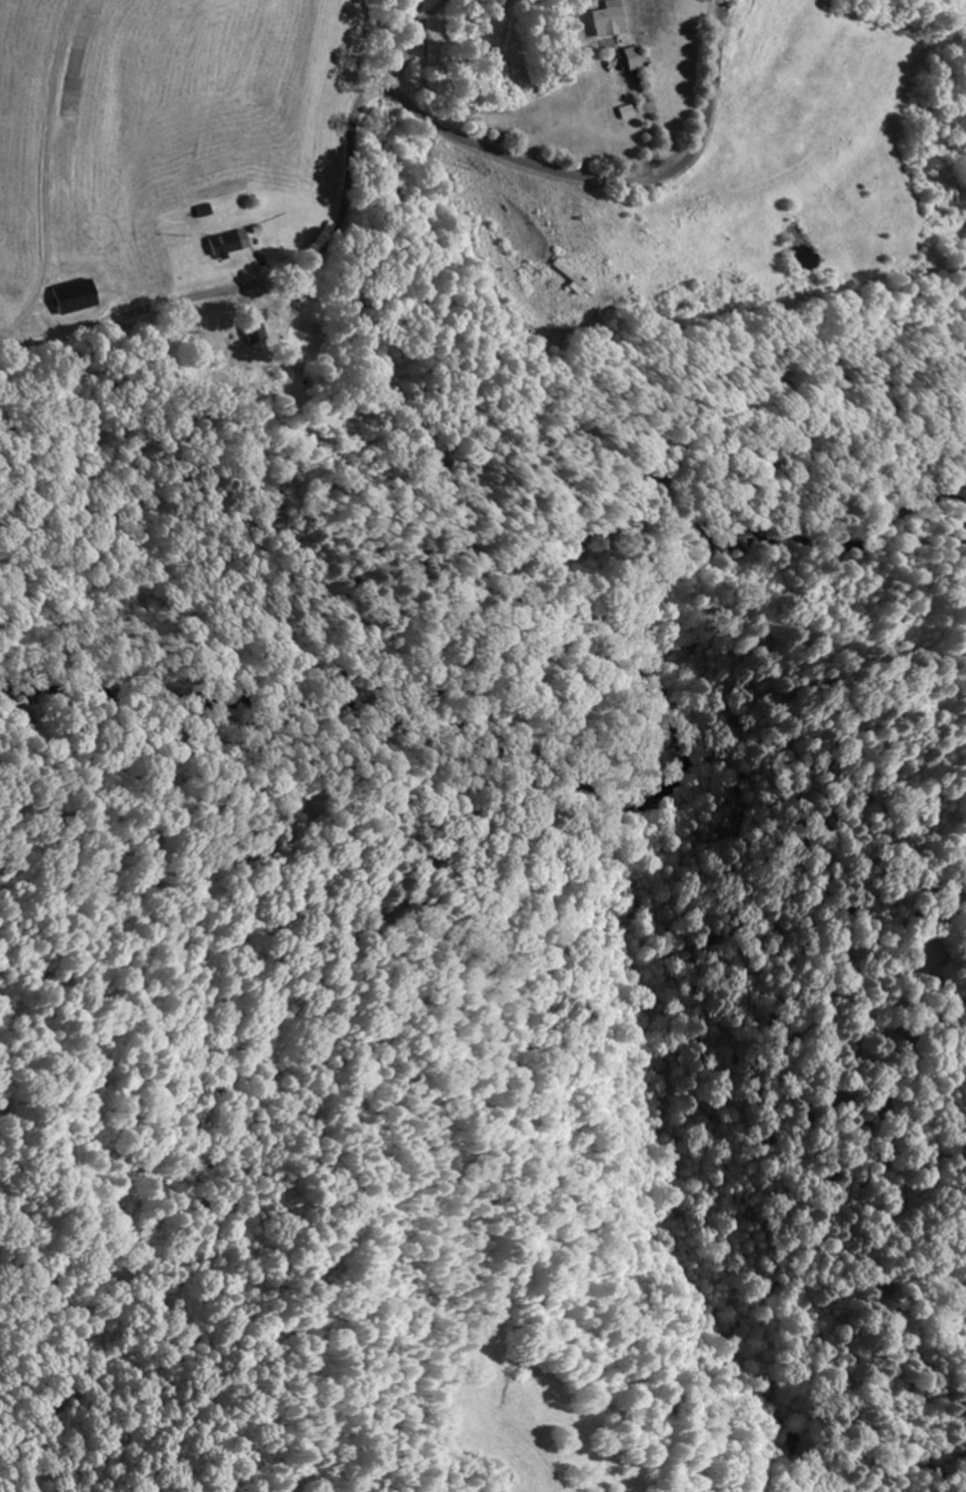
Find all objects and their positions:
building: (611, 20)
building: (440, 41)
road: (409, 45)
road: (374, 92)
building: (229, 242)
building: (573, 275)
building: (71, 297)
building: (250, 332)

